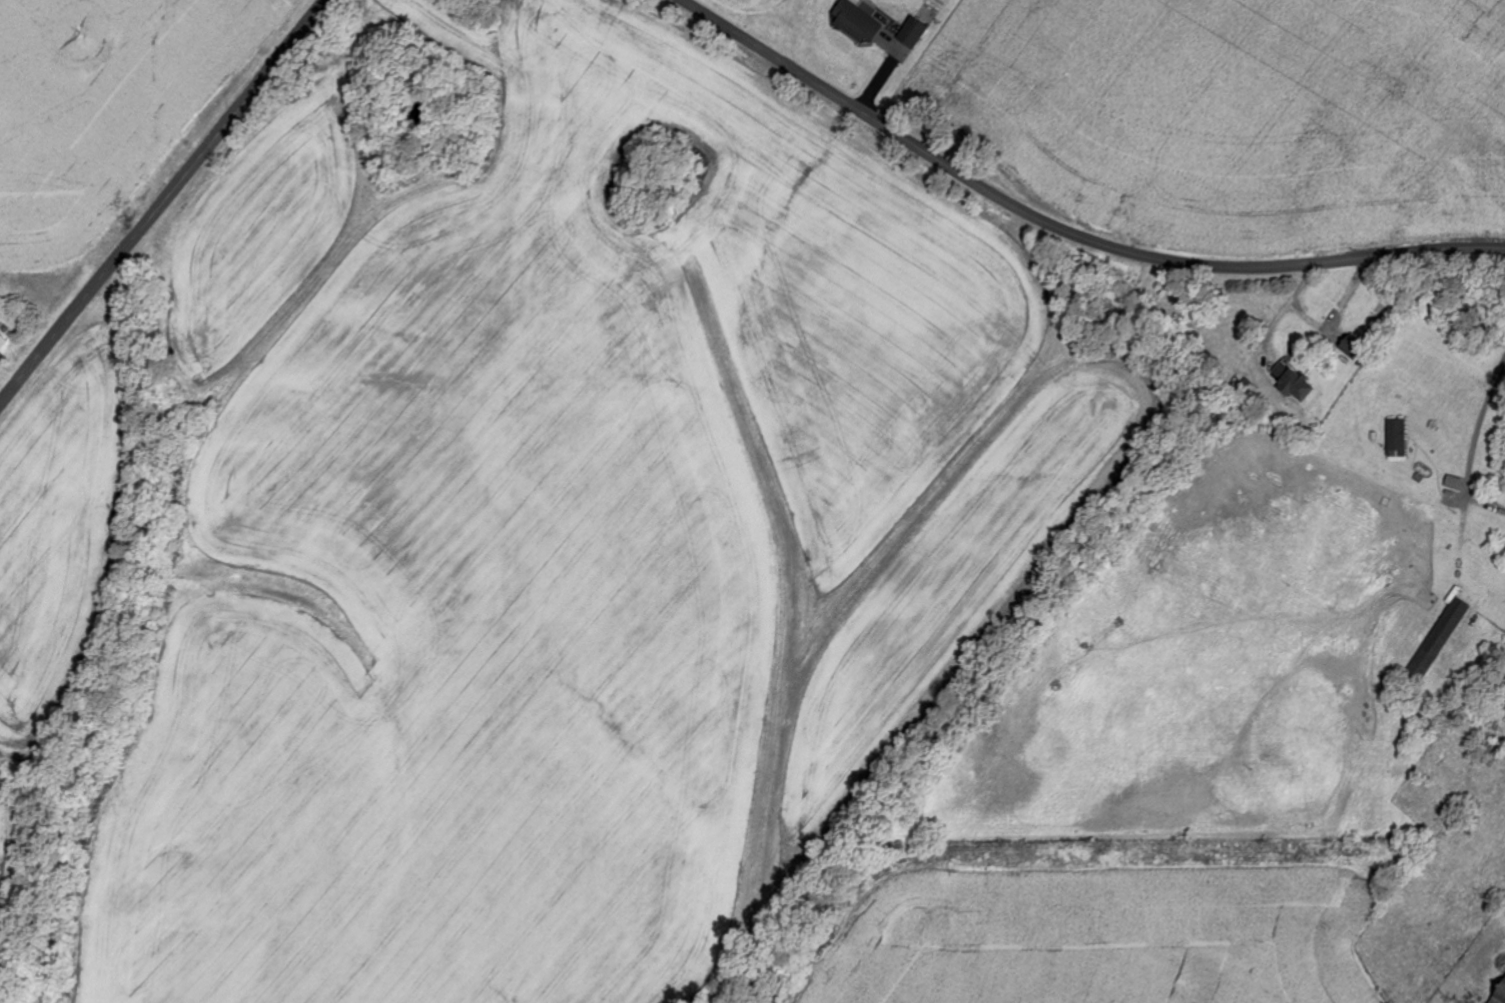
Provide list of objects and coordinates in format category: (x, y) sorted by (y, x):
building: (858, 21)
building: (914, 34)
road: (164, 202)
road: (1064, 229)
building: (3, 344)
building: (1354, 350)
building: (1293, 383)
road: (1479, 425)
building: (1399, 439)
building: (1442, 636)
building: (1500, 995)

